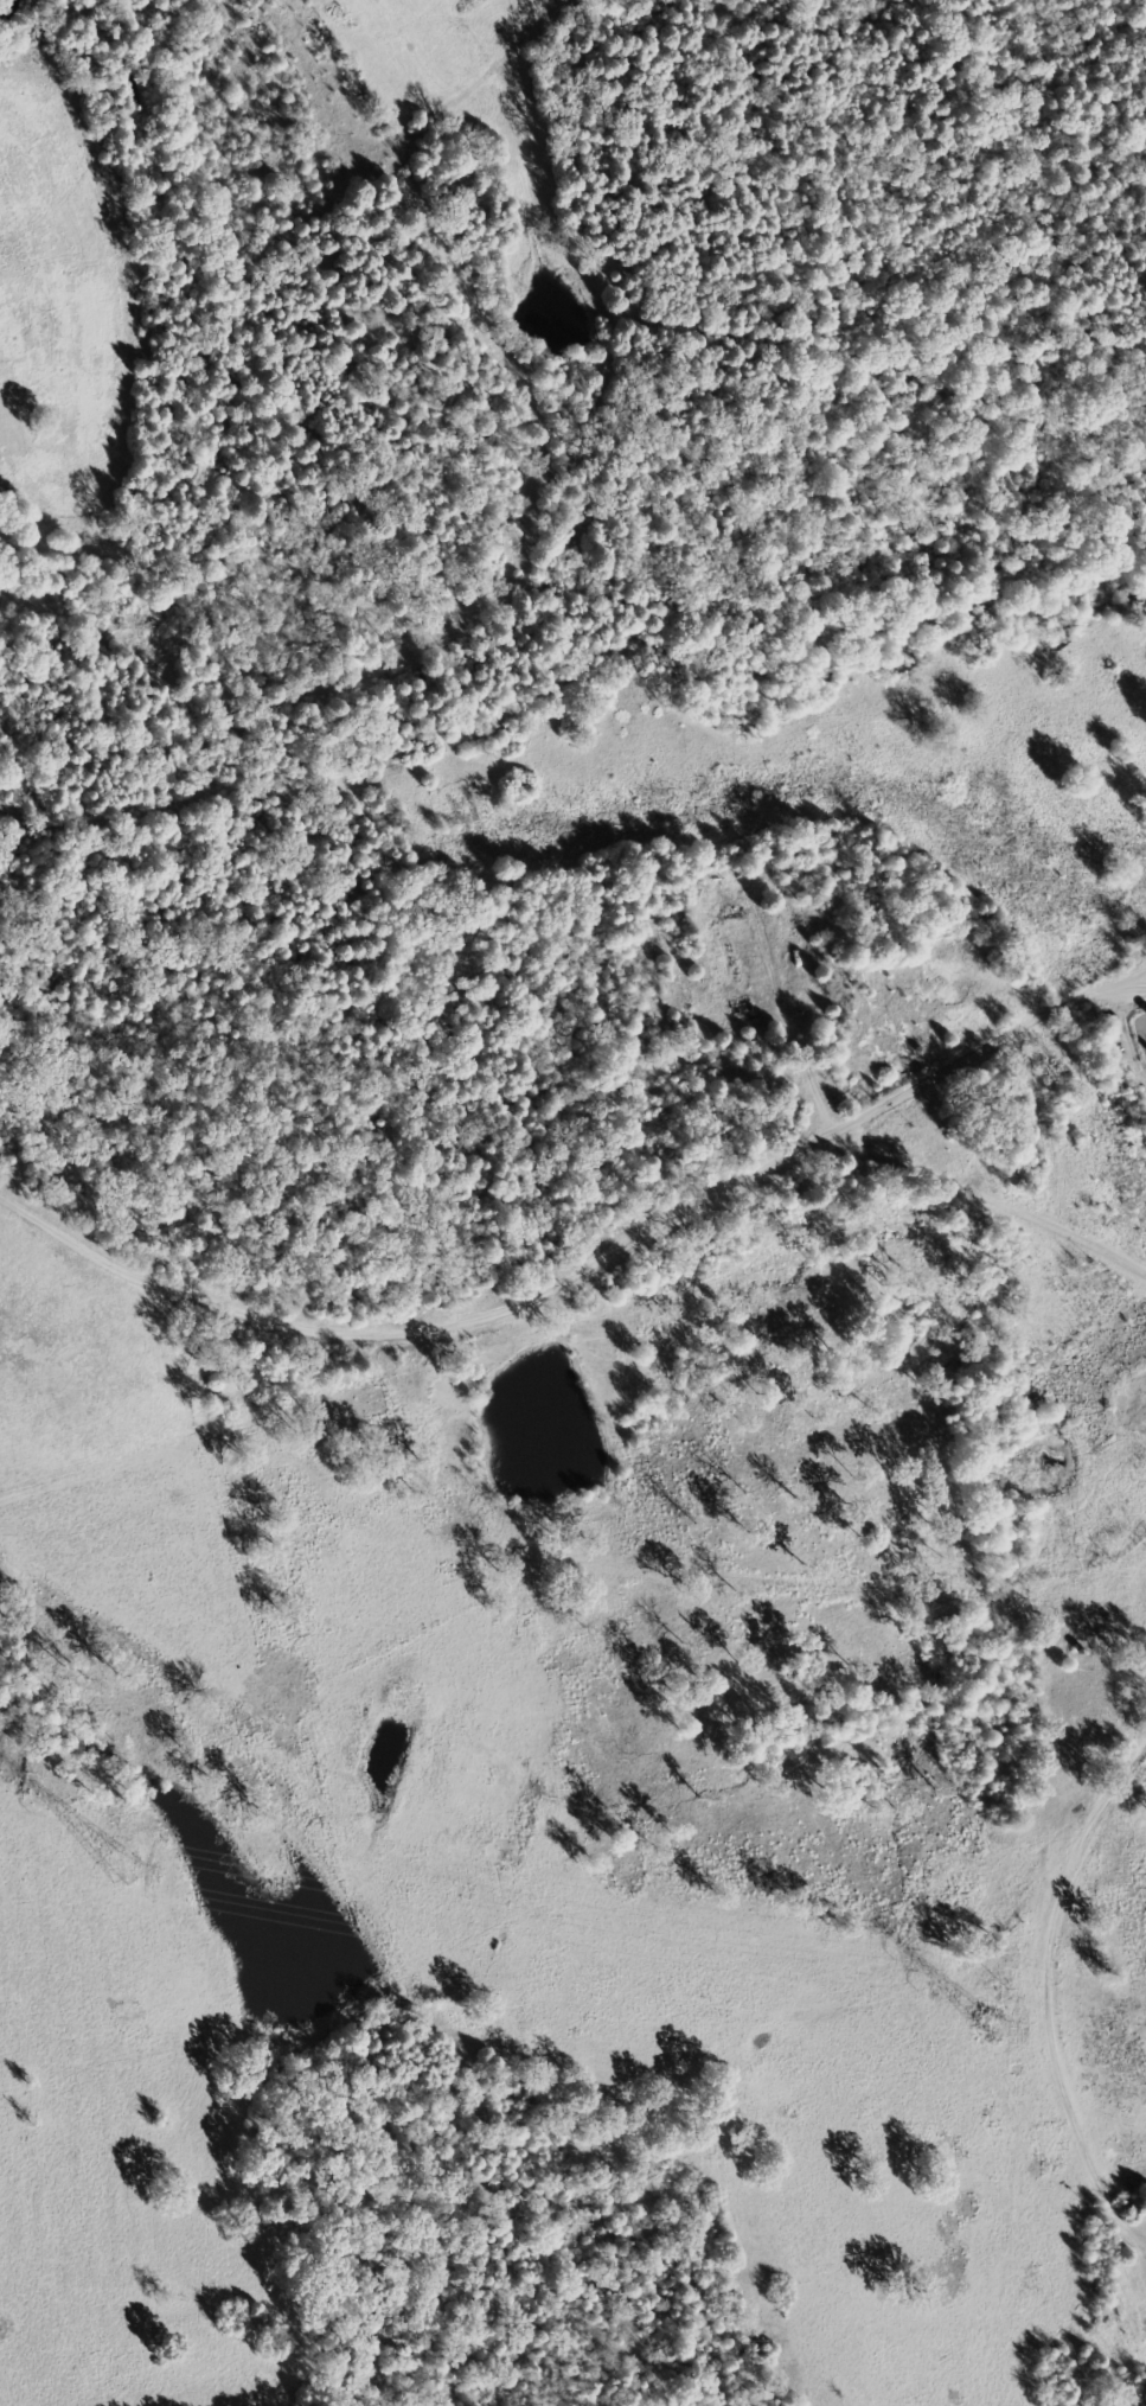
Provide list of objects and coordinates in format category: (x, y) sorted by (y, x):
road: (410, 95)
road: (601, 1251)
power tower: (149, 1875)
road: (578, 1926)
power tower: (982, 2027)

